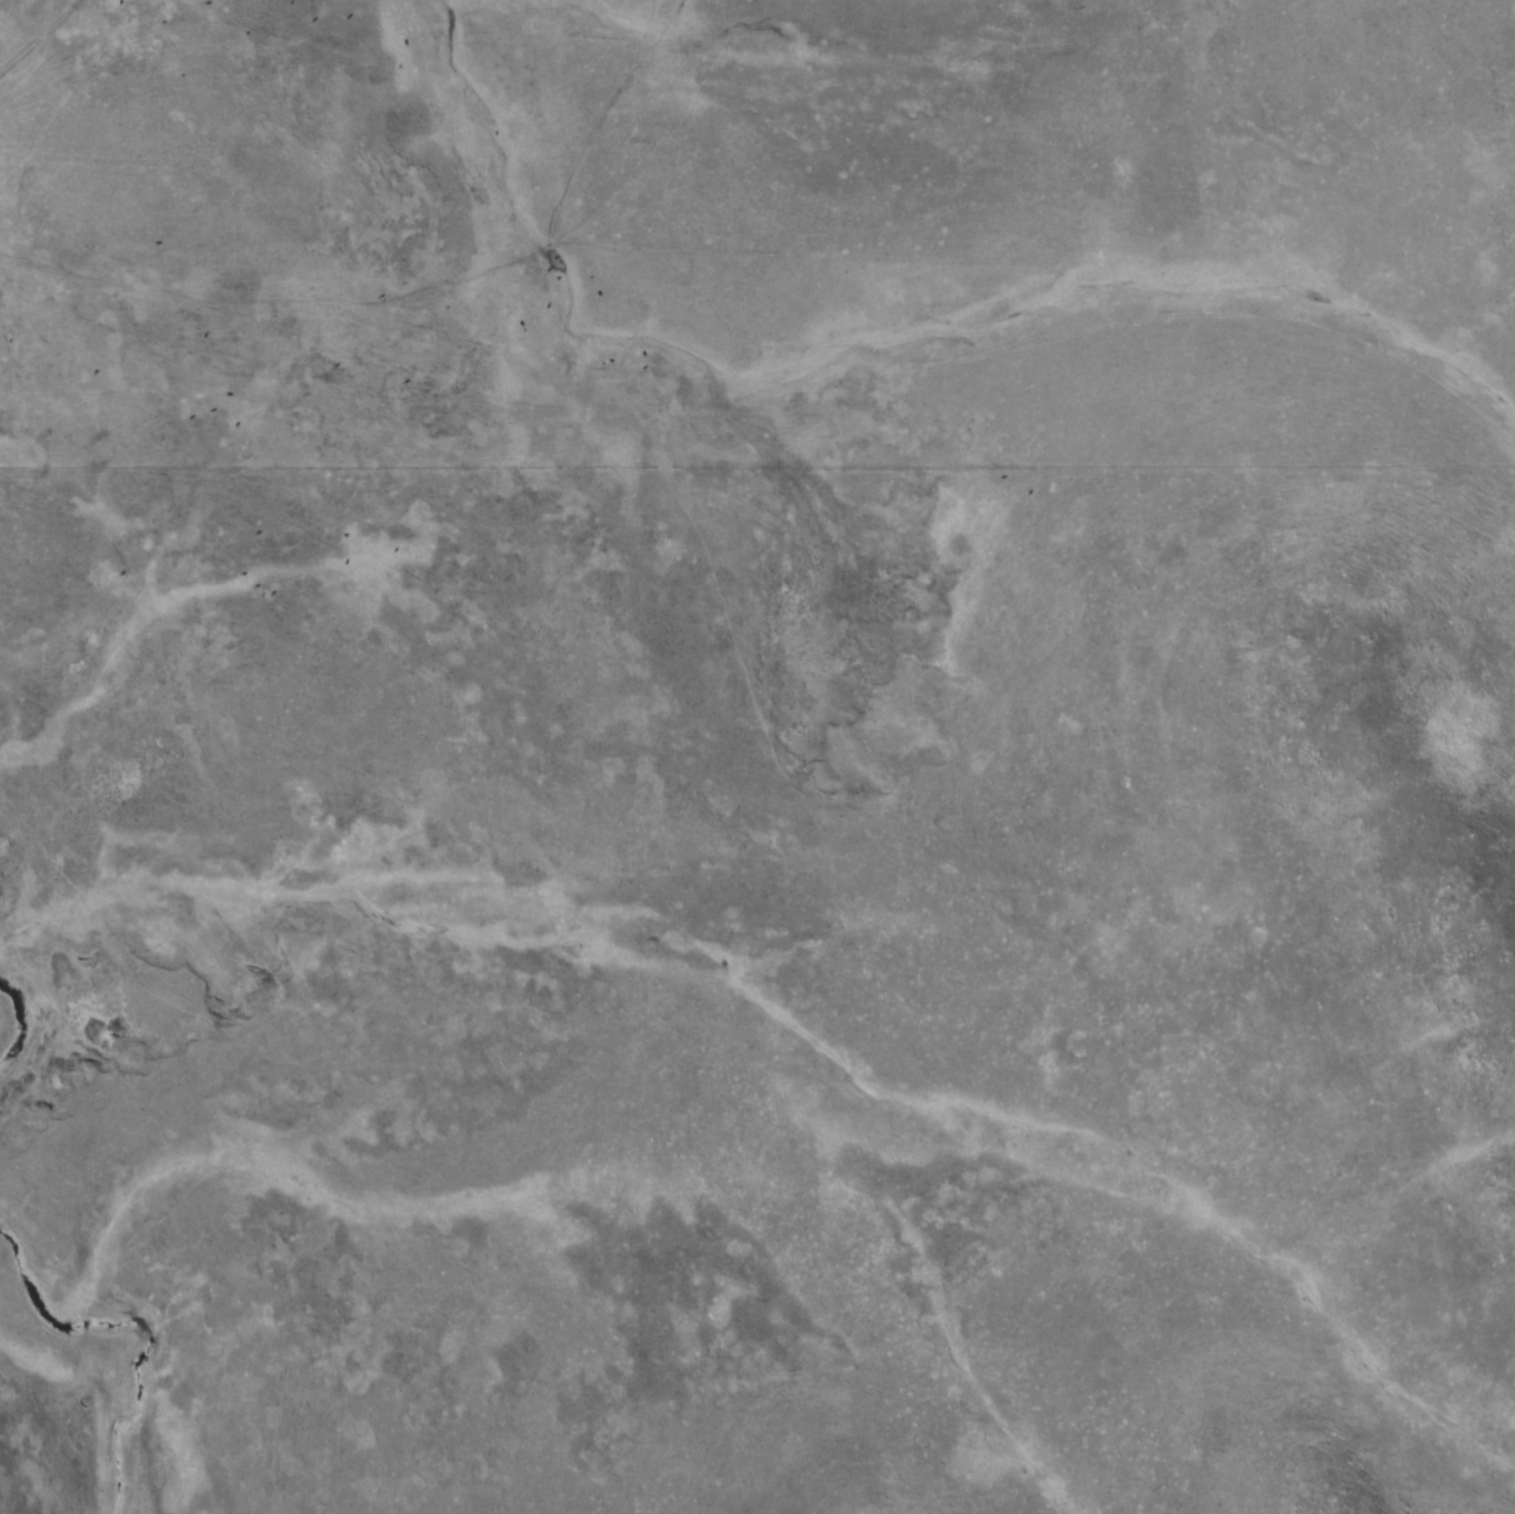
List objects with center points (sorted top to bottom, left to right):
road: (427, 290)

